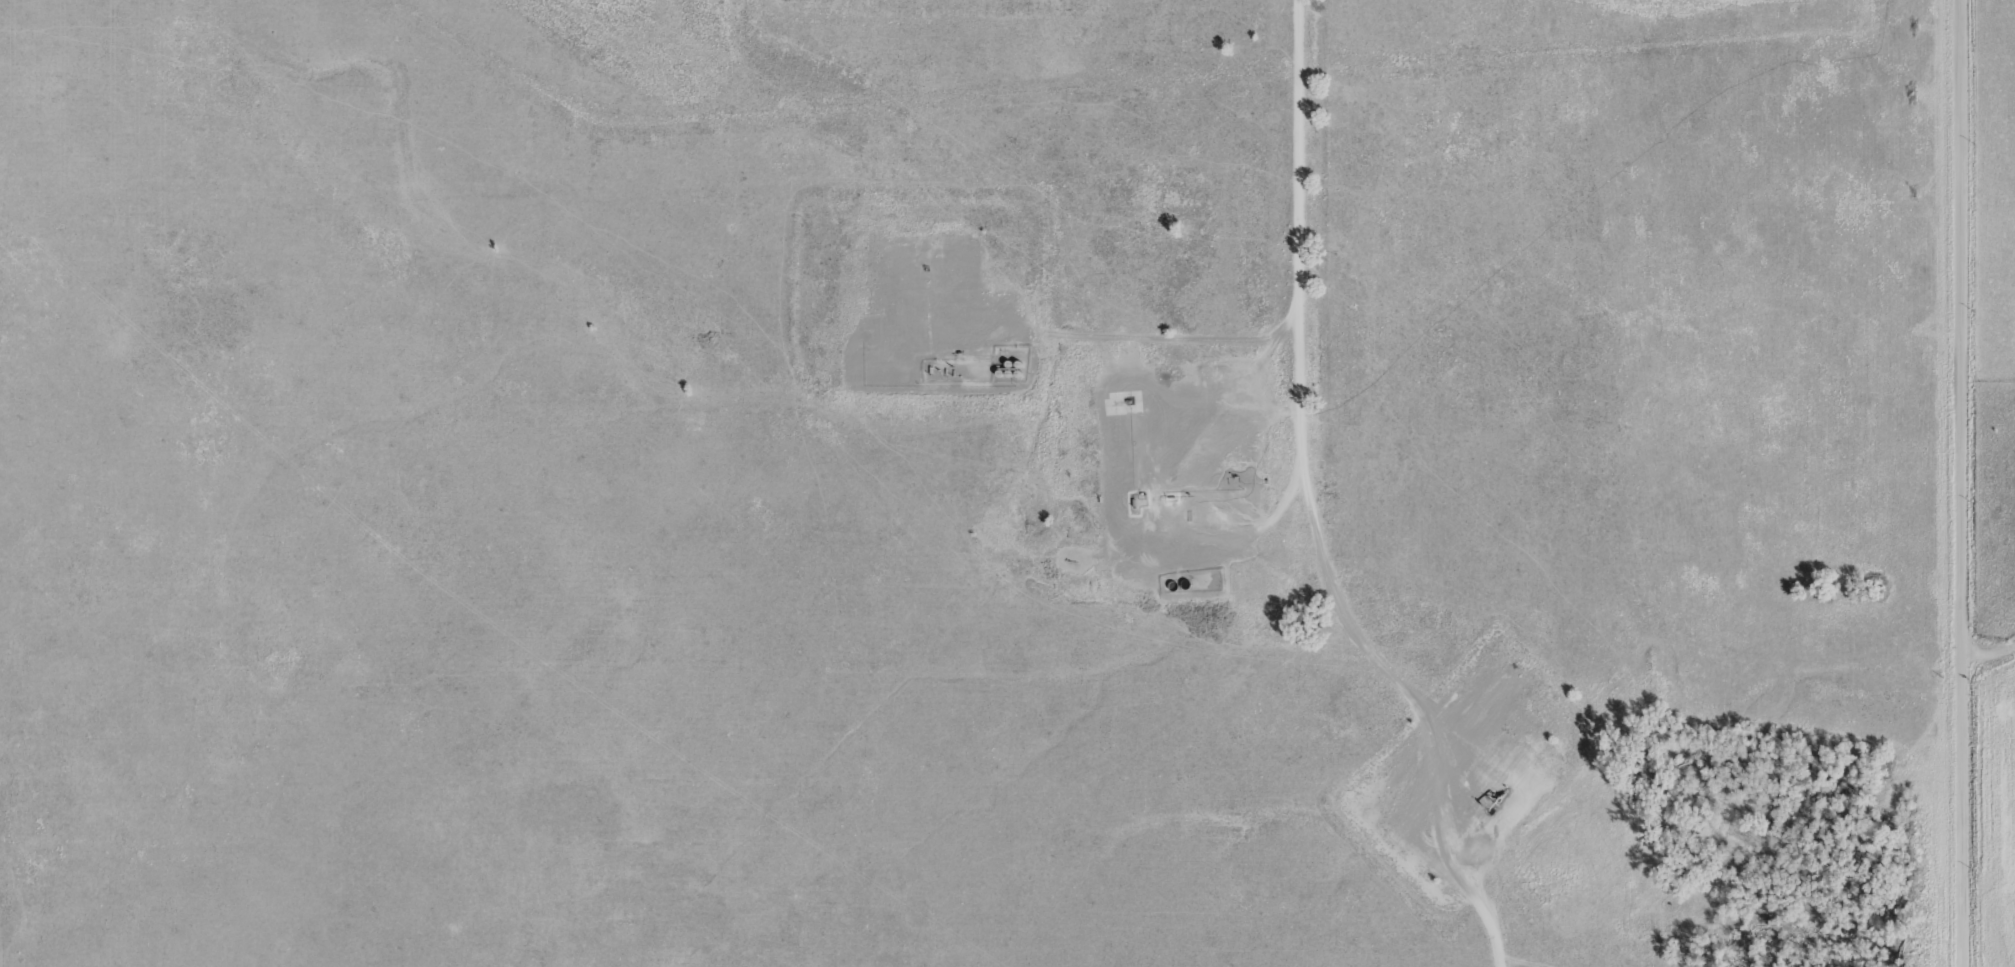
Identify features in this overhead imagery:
road: (1960, 483)

